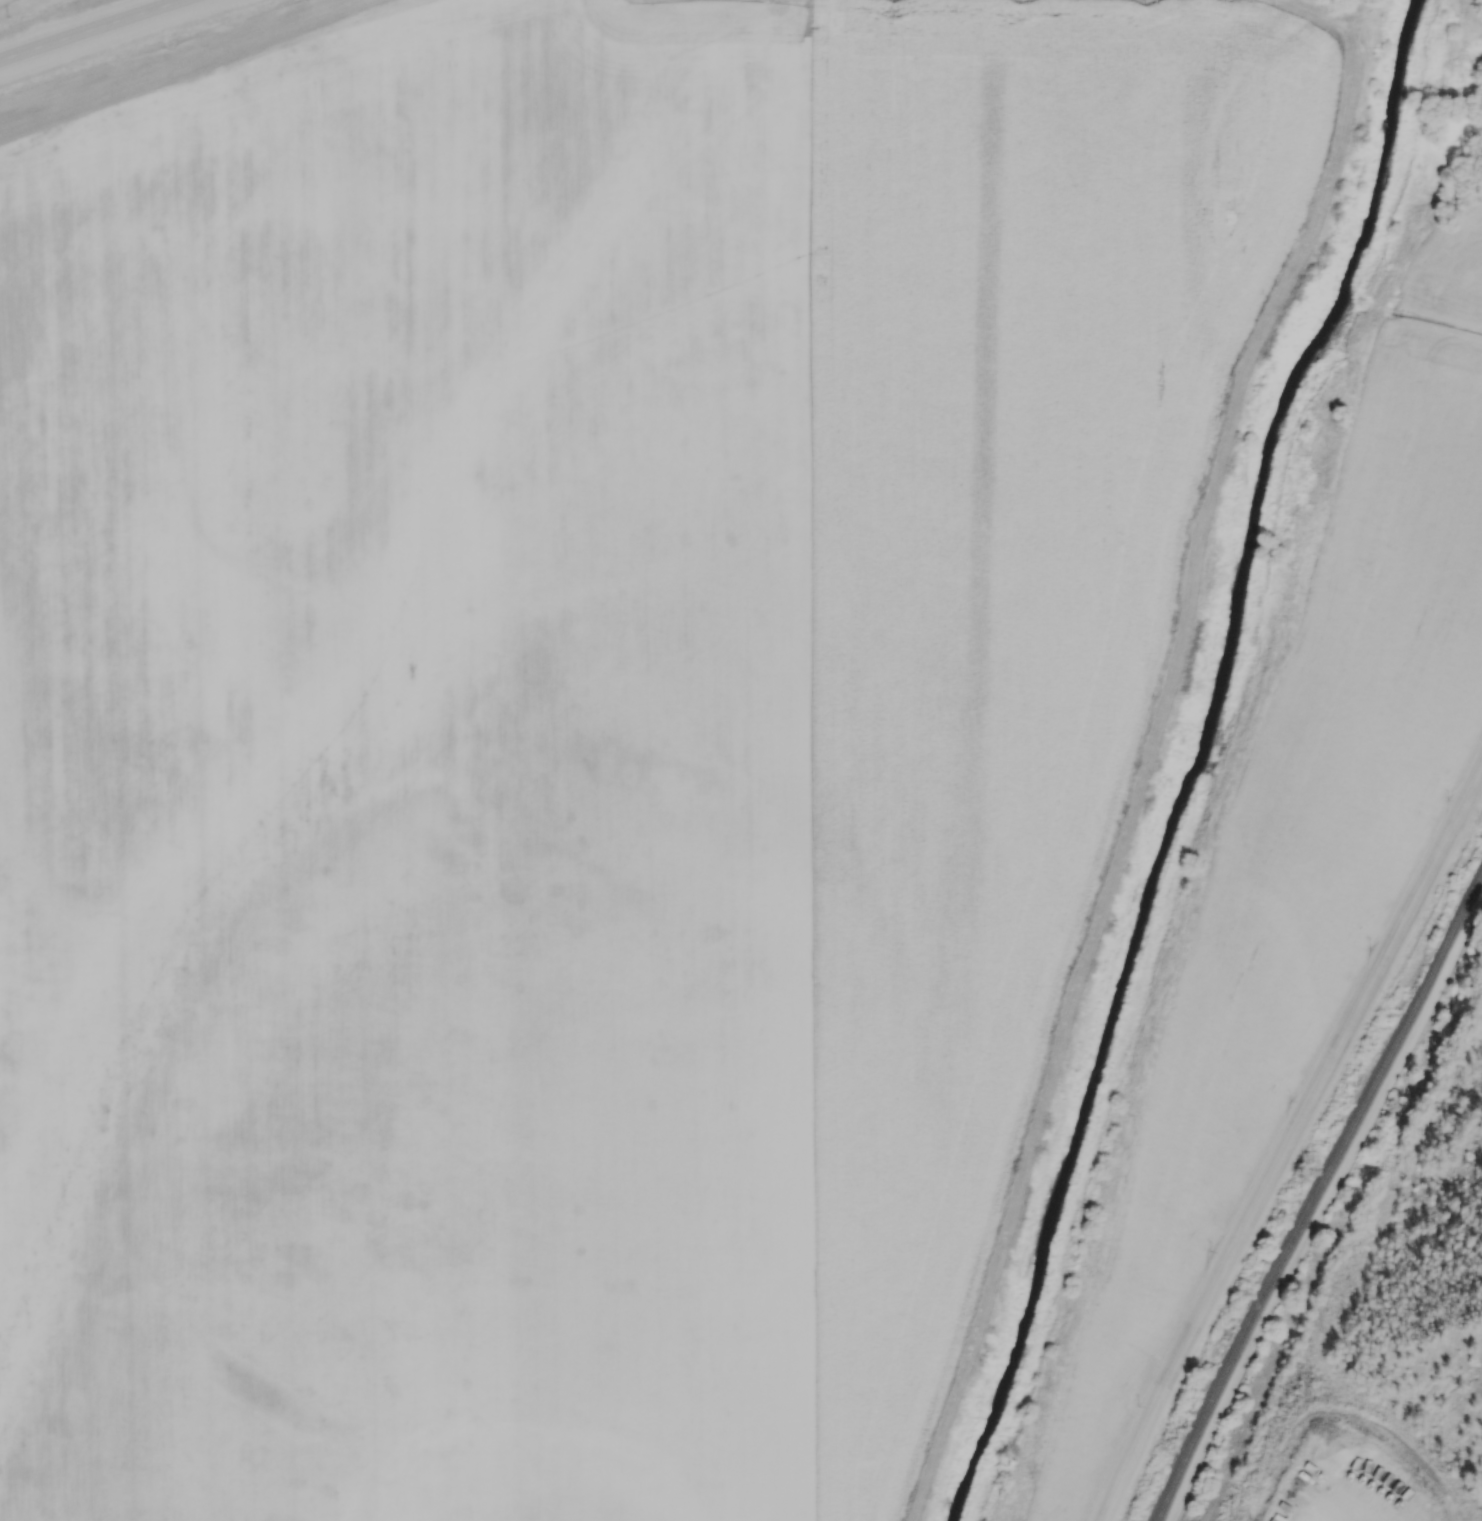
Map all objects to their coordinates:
road: (100, 32)
river: (1198, 760)
road: (1289, 1140)
railway: (1315, 1196)
quarry: (1481, 1518)

